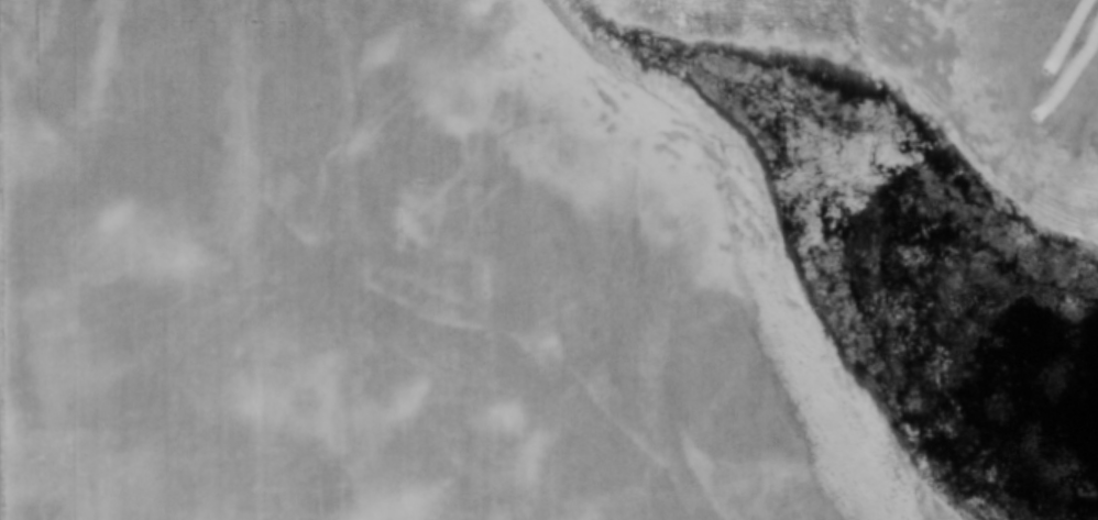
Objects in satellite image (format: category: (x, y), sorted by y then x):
road: (1096, 3)

